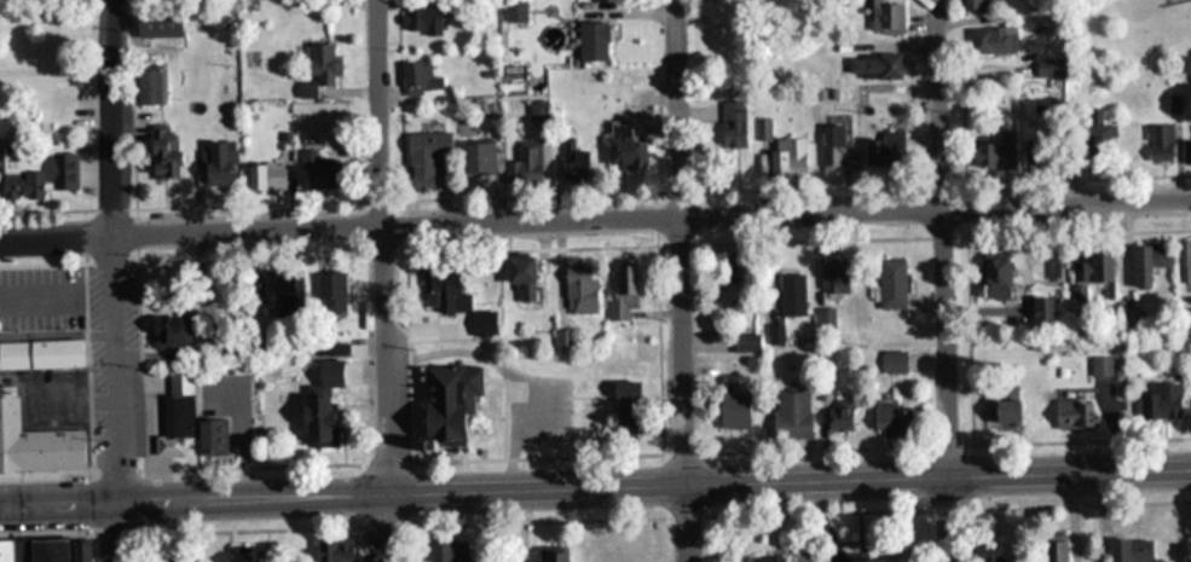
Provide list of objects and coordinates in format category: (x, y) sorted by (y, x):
building: (973, 2)
building: (884, 16)
building: (420, 19)
building: (163, 24)
building: (991, 39)
building: (590, 40)
road: (391, 50)
building: (319, 60)
building: (872, 64)
building: (420, 76)
building: (150, 87)
building: (536, 110)
building: (730, 123)
building: (764, 128)
building: (1095, 129)
building: (1157, 140)
building: (1006, 143)
building: (623, 146)
building: (836, 150)
building: (885, 150)
building: (1186, 151)
building: (788, 152)
building: (160, 155)
building: (423, 157)
building: (476, 158)
building: (215, 162)
building: (322, 163)
building: (572, 163)
building: (528, 167)
building: (37, 175)
building: (262, 175)
road: (595, 213)
building: (1147, 260)
building: (1186, 260)
building: (717, 267)
building: (519, 274)
building: (990, 277)
building: (1088, 278)
building: (832, 279)
road: (112, 280)
road: (386, 280)
road: (677, 280)
road: (946, 280)
building: (889, 283)
building: (441, 289)
building: (578, 289)
building: (621, 289)
building: (278, 291)
building: (330, 291)
building: (791, 294)
building: (12, 306)
building: (1039, 308)
building: (826, 315)
building: (1131, 320)
building: (168, 330)
building: (561, 340)
building: (740, 342)
building: (331, 348)
building: (620, 353)
building: (39, 354)
park: (249, 358)
building: (892, 360)
building: (1099, 365)
building: (326, 371)
building: (623, 389)
building: (443, 400)
building: (1158, 401)
building: (1111, 406)
building: (999, 411)
building: (1068, 412)
building: (790, 415)
building: (184, 417)
building: (837, 417)
building: (310, 418)
building: (890, 419)
building: (39, 438)
road: (595, 486)
building: (1128, 549)
building: (45, 550)
building: (333, 550)
building: (447, 550)
building: (1050, 550)
building: (988, 551)
building: (1185, 551)
building: (241, 555)
building: (551, 555)
building: (764, 557)
building: (858, 560)

